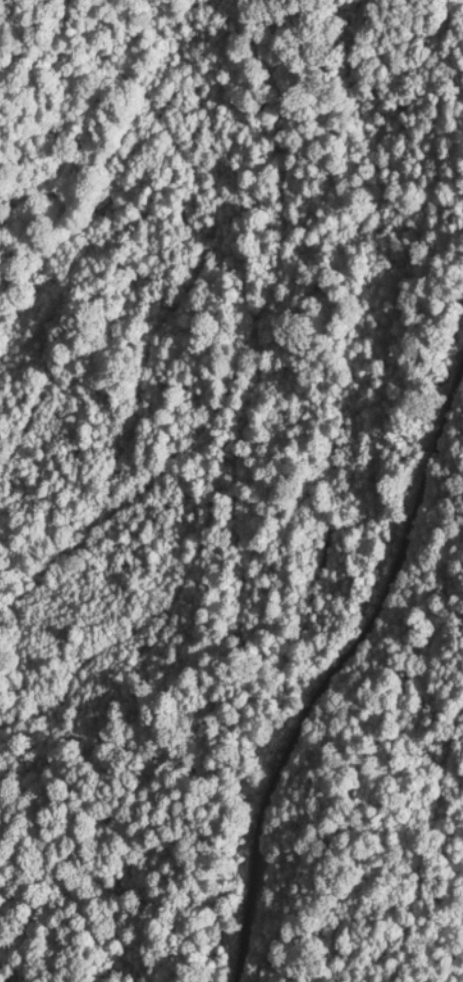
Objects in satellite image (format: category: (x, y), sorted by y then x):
road: (337, 665)

